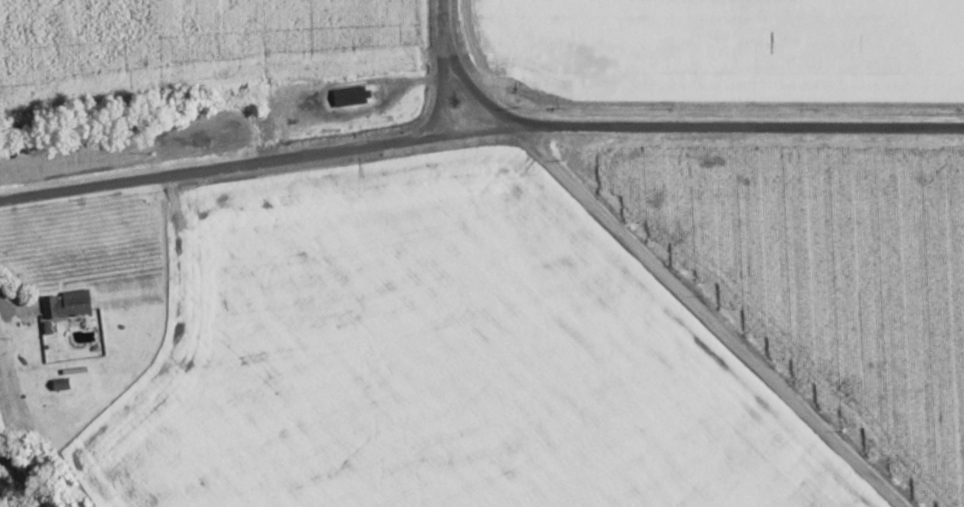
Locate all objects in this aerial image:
road: (440, 71)
road: (473, 89)
road: (691, 127)
road: (209, 170)
building: (74, 302)
road: (713, 317)

